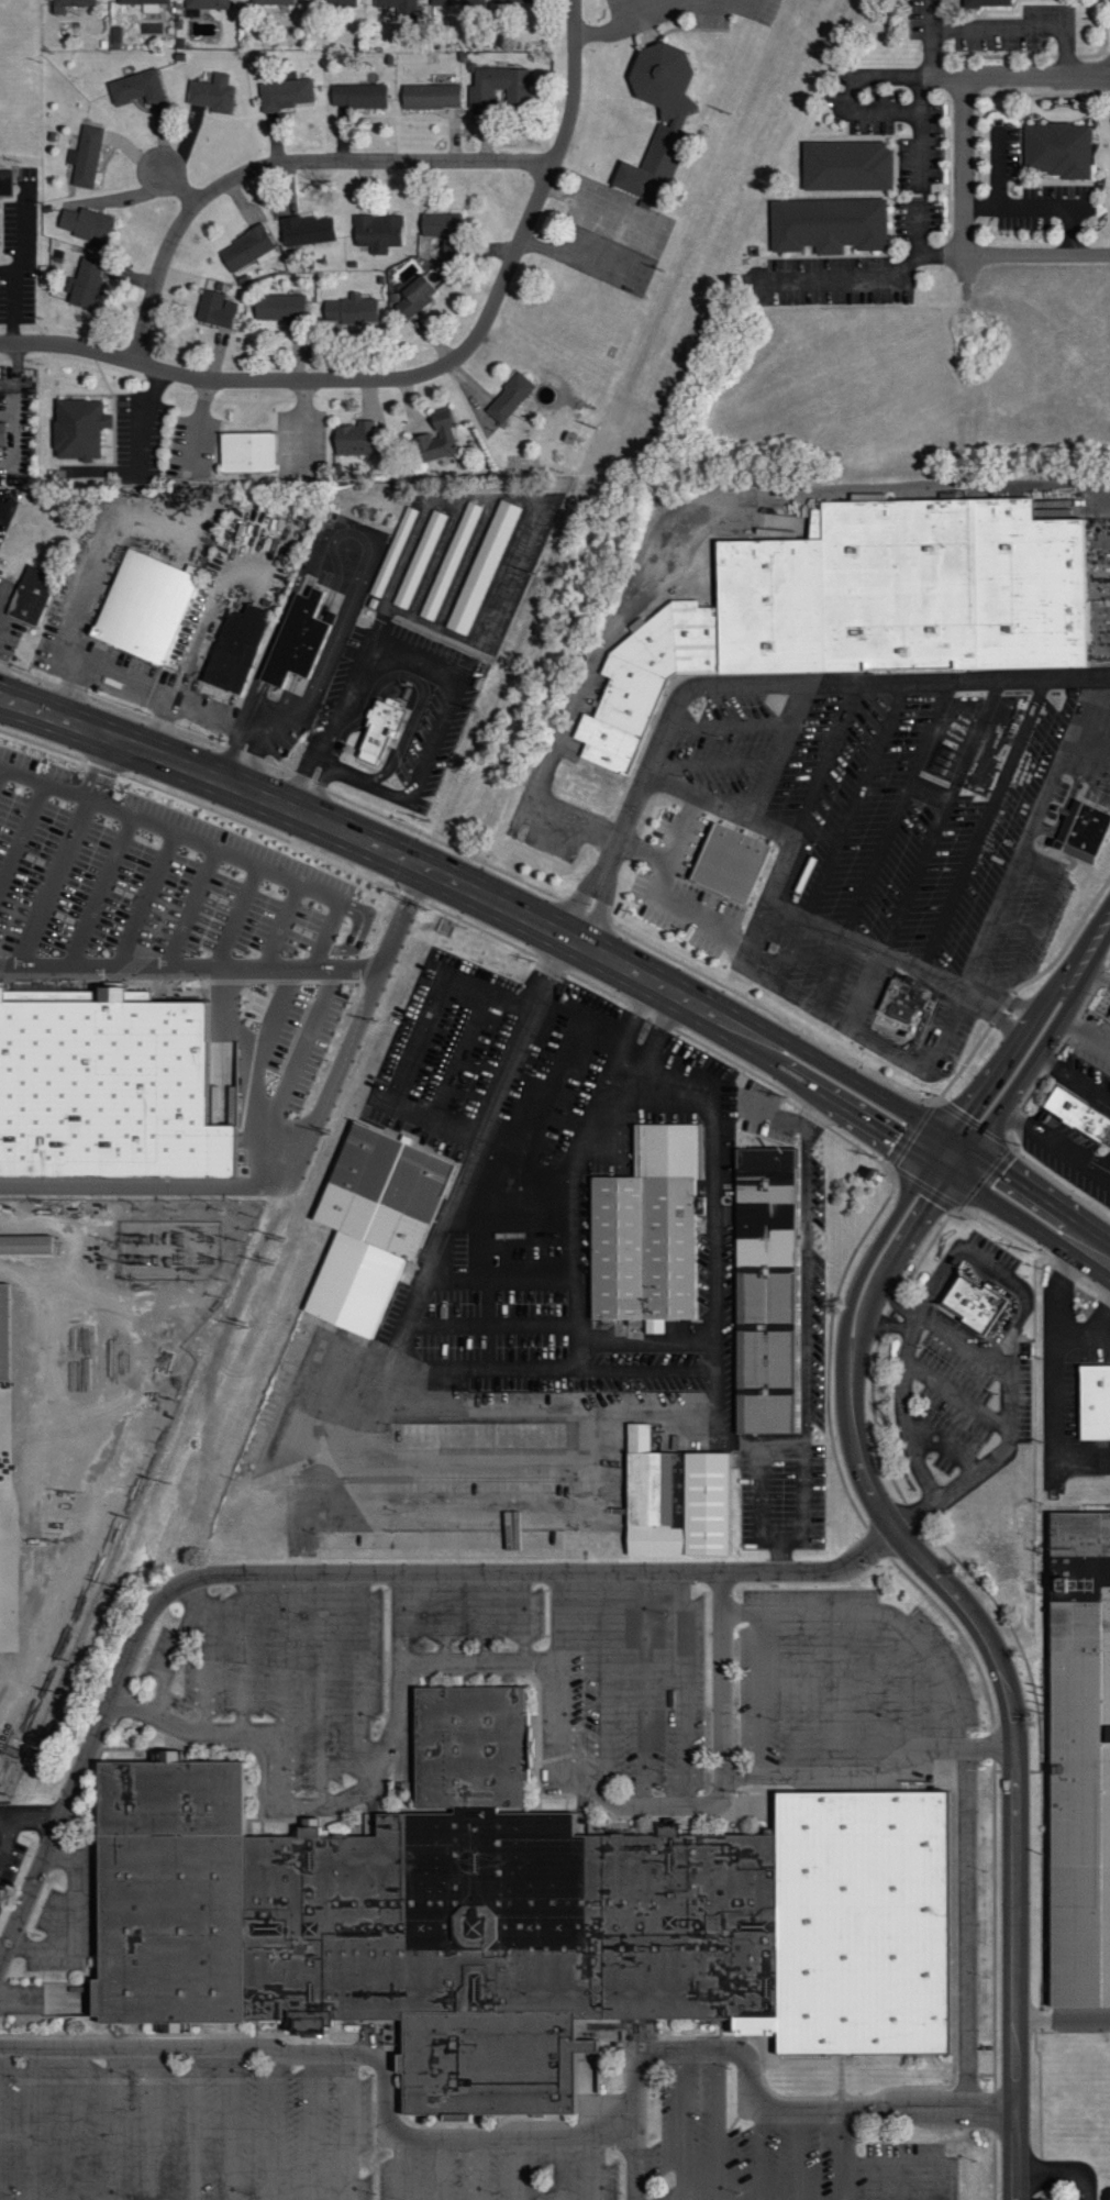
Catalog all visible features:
building: (511, 1)
building: (992, 1)
building: (73, 2)
building: (269, 2)
building: (456, 2)
road: (748, 2)
building: (204, 3)
building: (334, 3)
building: (144, 4)
building: (400, 8)
road: (619, 11)
road: (630, 18)
road: (1018, 24)
road: (1103, 34)
road: (929, 37)
road: (1019, 75)
road: (573, 85)
building: (496, 86)
building: (134, 87)
building: (211, 93)
building: (284, 95)
building: (357, 96)
building: (429, 96)
road: (853, 106)
building: (667, 124)
road: (922, 143)
building: (1059, 146)
building: (85, 156)
road: (284, 162)
building: (851, 164)
road: (966, 177)
building: (9, 181)
road: (178, 186)
road: (1046, 204)
road: (592, 207)
building: (84, 223)
building: (439, 224)
building: (833, 224)
road: (27, 229)
building: (307, 230)
building: (376, 232)
building: (247, 250)
road: (1039, 254)
road: (873, 275)
building: (82, 284)
building: (412, 297)
road: (11, 299)
building: (277, 307)
building: (214, 310)
building: (349, 310)
road: (16, 371)
road: (334, 378)
building: (507, 398)
road: (142, 421)
road: (200, 425)
building: (80, 428)
building: (5, 433)
building: (435, 436)
building: (353, 439)
building: (248, 451)
road: (736, 500)
road: (525, 543)
building: (398, 550)
building: (422, 557)
road: (435, 560)
building: (449, 562)
road: (465, 564)
building: (481, 567)
road: (99, 568)
building: (912, 588)
building: (36, 595)
building: (151, 604)
road: (341, 626)
road: (203, 629)
building: (299, 640)
building: (238, 648)
road: (348, 651)
building: (652, 675)
road: (759, 679)
road: (421, 687)
road: (195, 708)
road: (343, 708)
building: (386, 721)
road: (732, 723)
road: (433, 740)
road: (778, 748)
road: (822, 758)
road: (319, 760)
road: (714, 762)
road: (1094, 766)
road: (108, 772)
road: (3, 780)
road: (856, 796)
road: (945, 801)
road: (899, 804)
road: (573, 818)
road: (981, 821)
parking lot: (556, 826)
road: (1026, 830)
building: (1081, 831)
parking lot: (901, 840)
road: (24, 842)
road: (212, 851)
road: (645, 851)
building: (735, 860)
road: (477, 861)
road: (915, 876)
parking lot: (685, 883)
road: (57, 886)
road: (657, 892)
road: (104, 895)
road: (148, 904)
road: (195, 913)
road: (807, 916)
parking lot: (182, 917)
road: (1033, 918)
road: (240, 921)
road: (285, 930)
road: (329, 939)
road: (575, 942)
road: (792, 949)
road: (767, 951)
road: (1097, 969)
road: (832, 970)
road: (247, 972)
road: (763, 973)
road: (576, 976)
road: (863, 985)
building: (901, 1002)
road: (994, 1017)
building: (1109, 1019)
road: (1080, 1027)
road: (948, 1029)
road: (1031, 1040)
road: (910, 1043)
road: (1068, 1073)
road: (623, 1081)
building: (108, 1084)
road: (271, 1108)
building: (1081, 1113)
road: (795, 1124)
road: (1051, 1139)
building: (1109, 1139)
traffic signals: (954, 1161)
road: (262, 1186)
road: (574, 1219)
building: (380, 1220)
building: (653, 1225)
building: (27, 1242)
power substation: (168, 1248)
road: (714, 1270)
road: (807, 1283)
building: (772, 1290)
road: (415, 1295)
building: (977, 1300)
road: (1054, 1319)
road: (1014, 1329)
building: (7, 1331)
road: (852, 1338)
road: (963, 1341)
road: (955, 1397)
building: (1097, 1401)
road: (902, 1412)
road: (1054, 1425)
road: (942, 1445)
building: (680, 1497)
road: (761, 1499)
road: (804, 1511)
road: (476, 1569)
road: (885, 1612)
road: (402, 1615)
road: (484, 1615)
road: (443, 1616)
road: (524, 1616)
building: (8, 1617)
road: (560, 1617)
road: (178, 1645)
road: (242, 1651)
road: (284, 1651)
road: (206, 1662)
road: (544, 1662)
parking lot: (578, 1670)
road: (362, 1671)
road: (721, 1671)
road: (603, 1681)
road: (685, 1685)
road: (644, 1687)
road: (322, 1688)
road: (881, 1688)
road: (759, 1692)
road: (799, 1692)
road: (837, 1692)
road: (924, 1701)
building: (1083, 1759)
road: (5, 1816)
road: (22, 1816)
road: (55, 1832)
road: (1014, 1847)
parking lot: (9, 1867)
building: (521, 1915)
road: (967, 1928)
road: (34, 2123)
road: (73, 2123)
road: (111, 2123)
road: (152, 2123)
road: (192, 2123)
road: (231, 2123)
road: (271, 2124)
road: (311, 2125)
road: (351, 2126)
road: (680, 2126)
road: (719, 2126)
parking lot: (192, 2132)
road: (536, 2134)
road: (761, 2155)
road: (800, 2155)
road: (843, 2155)
road: (909, 2164)
road: (399, 2167)
road: (440, 2167)
road: (479, 2167)
road: (520, 2167)
road: (560, 2167)
road: (598, 2167)
road: (635, 2167)
road: (1063, 2173)
road: (892, 2181)
parking lot: (1081, 2198)

